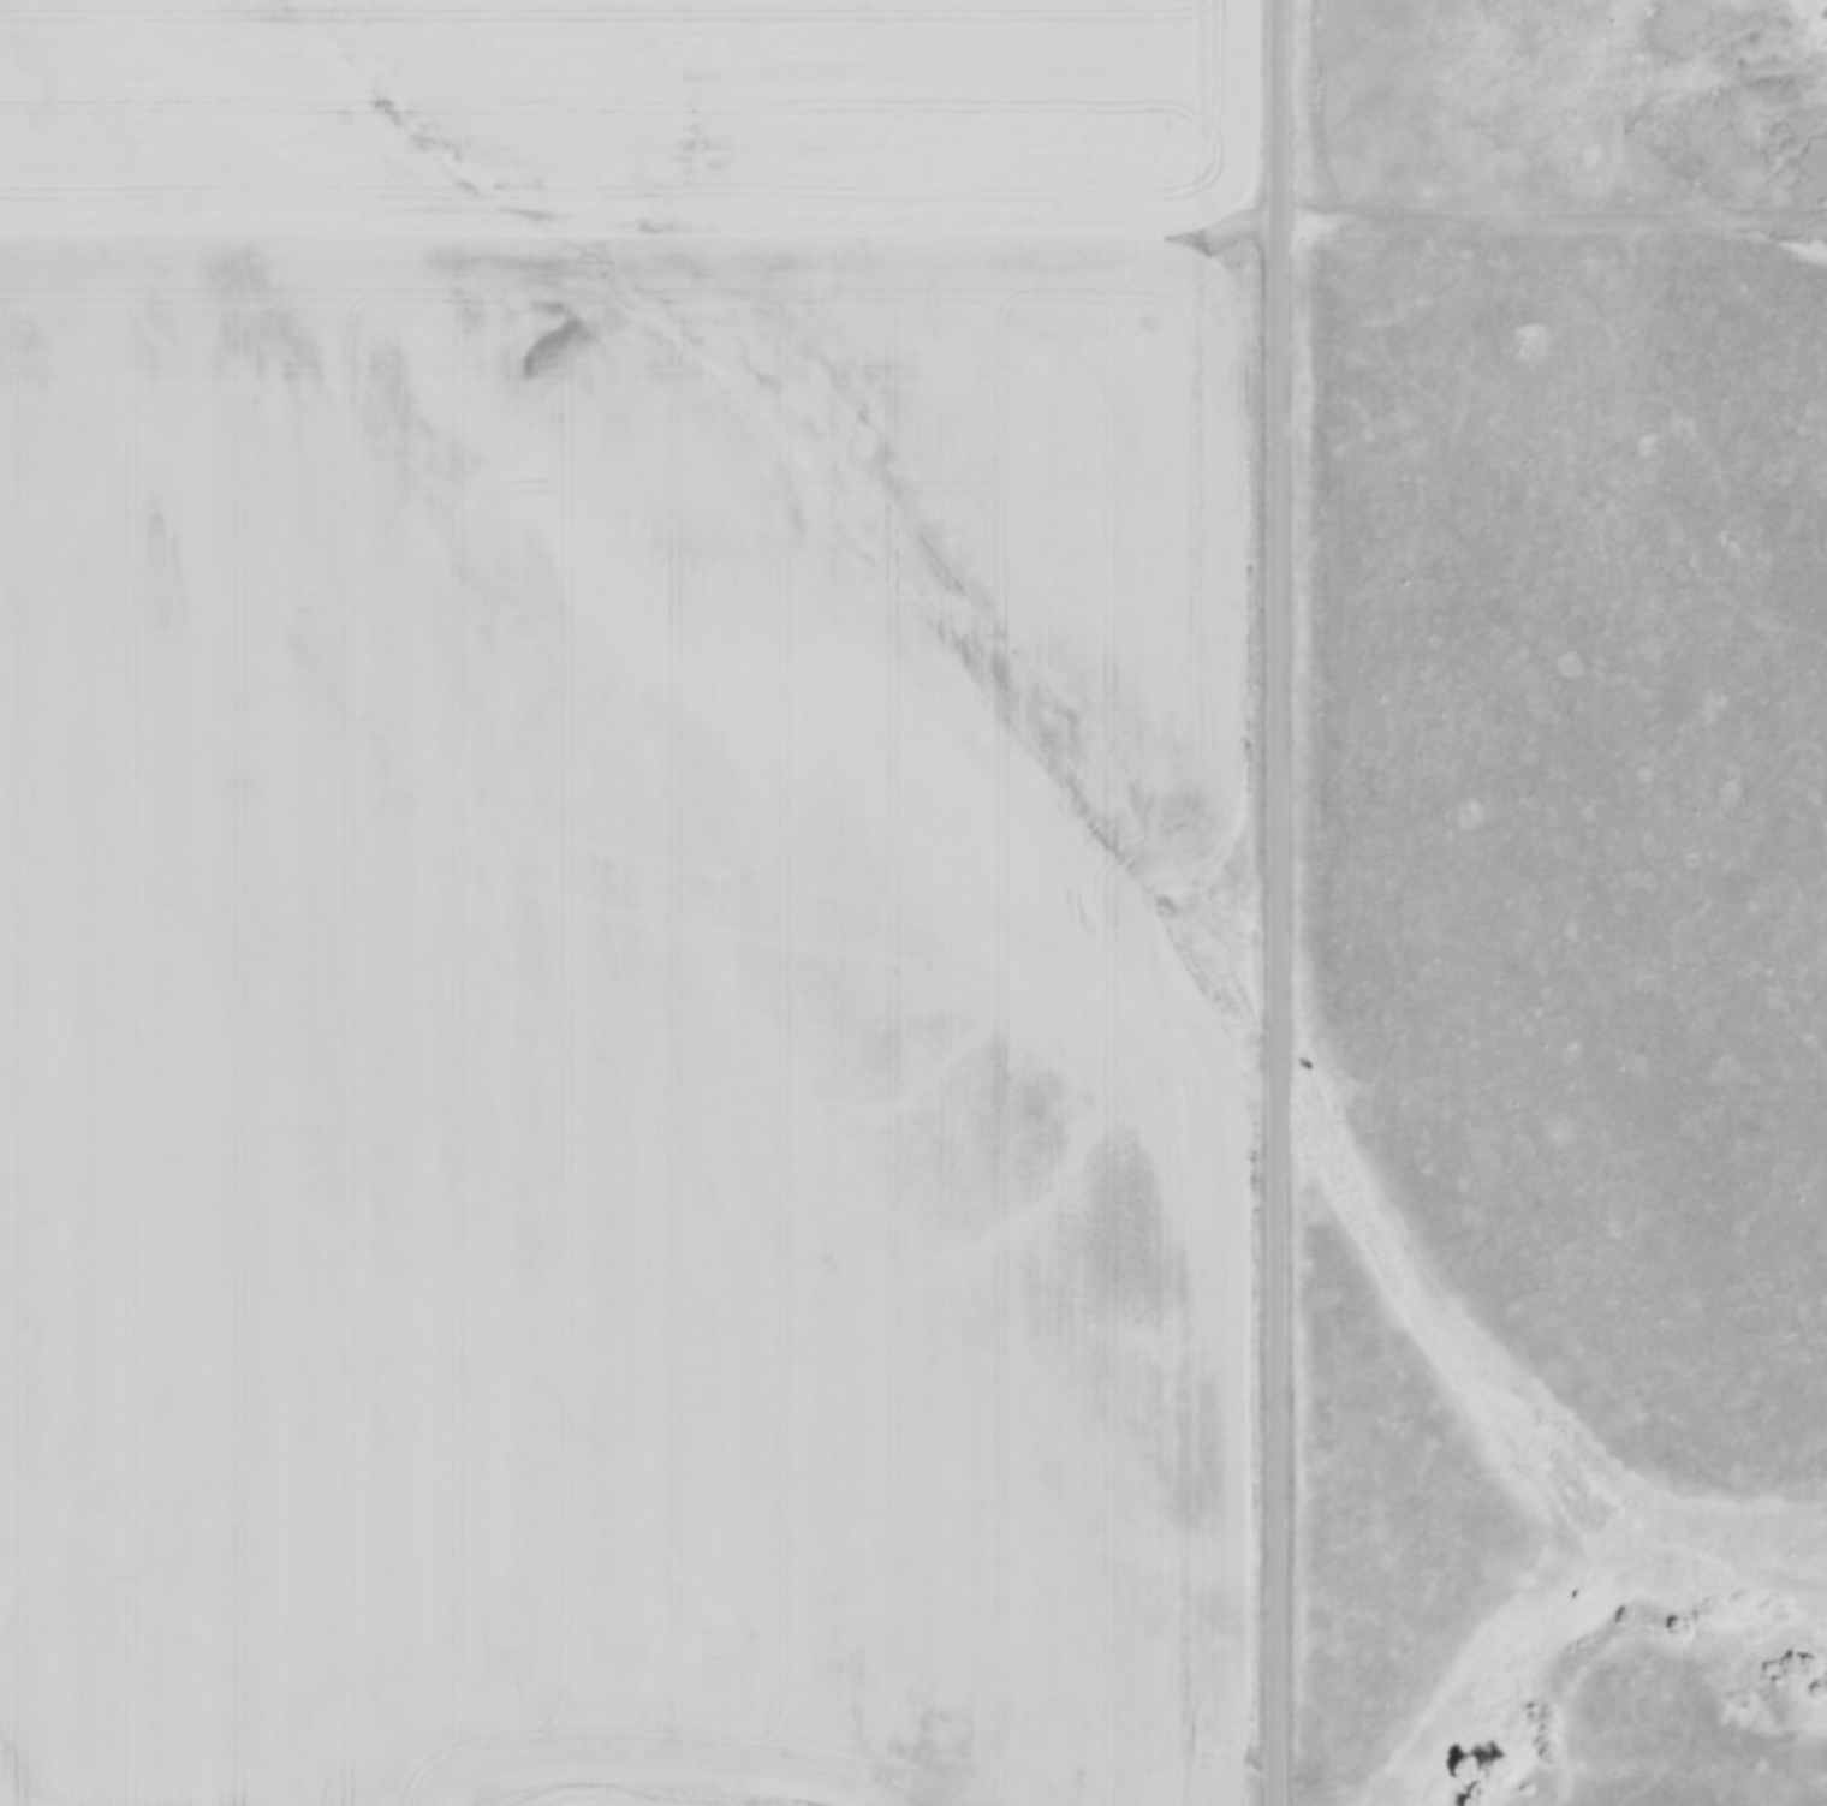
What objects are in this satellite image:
road: (852, 228)
road: (1280, 902)

